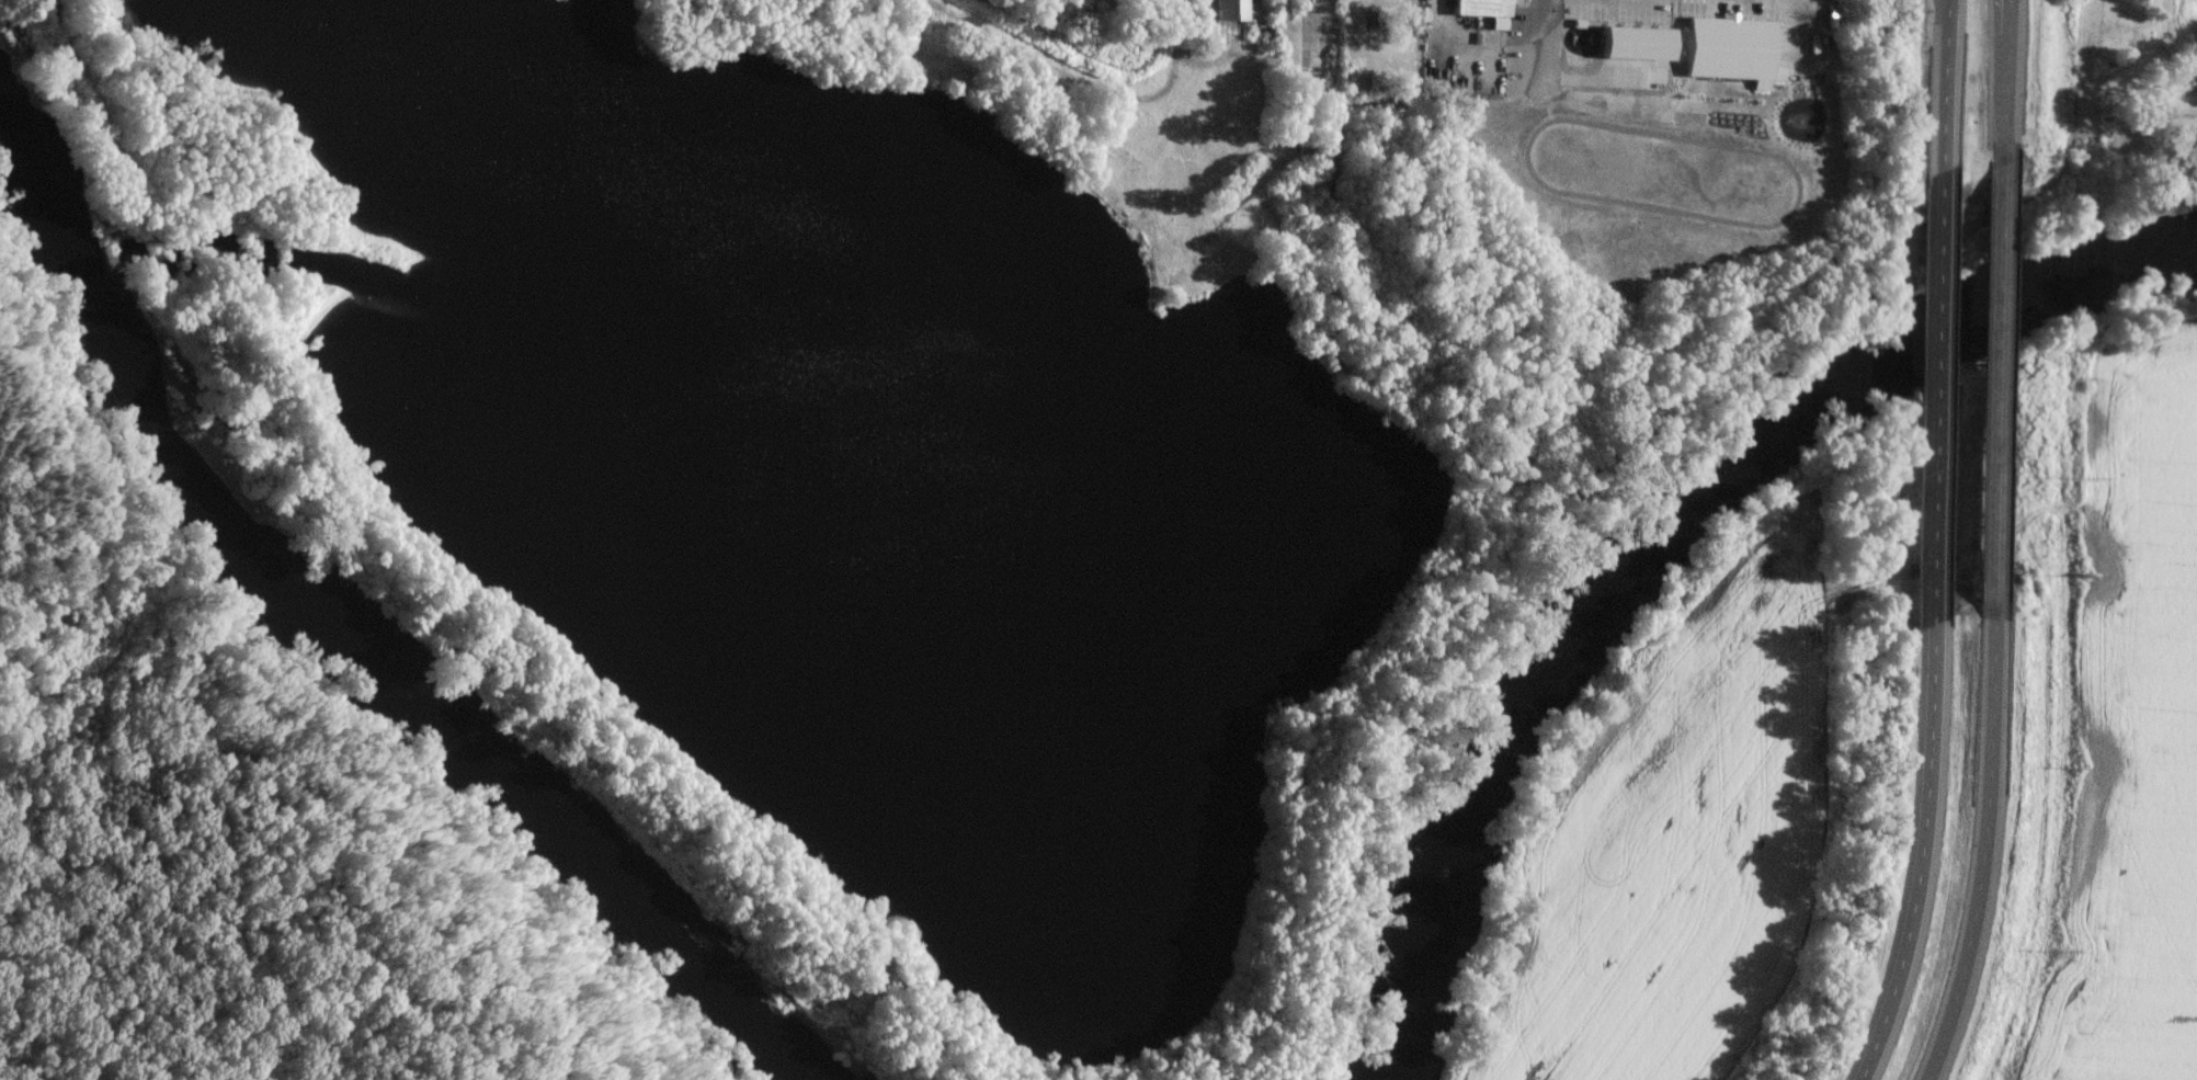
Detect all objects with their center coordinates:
building: (1478, 8)
building: (1227, 11)
building: (1630, 39)
building: (1724, 43)
road: (2165, 45)
road: (1544, 46)
road: (2002, 81)
road: (1942, 94)
road: (1993, 380)
road: (1933, 405)
river: (1658, 534)
river: (352, 645)
crop: (2133, 743)
road: (1976, 842)
road: (1913, 854)

